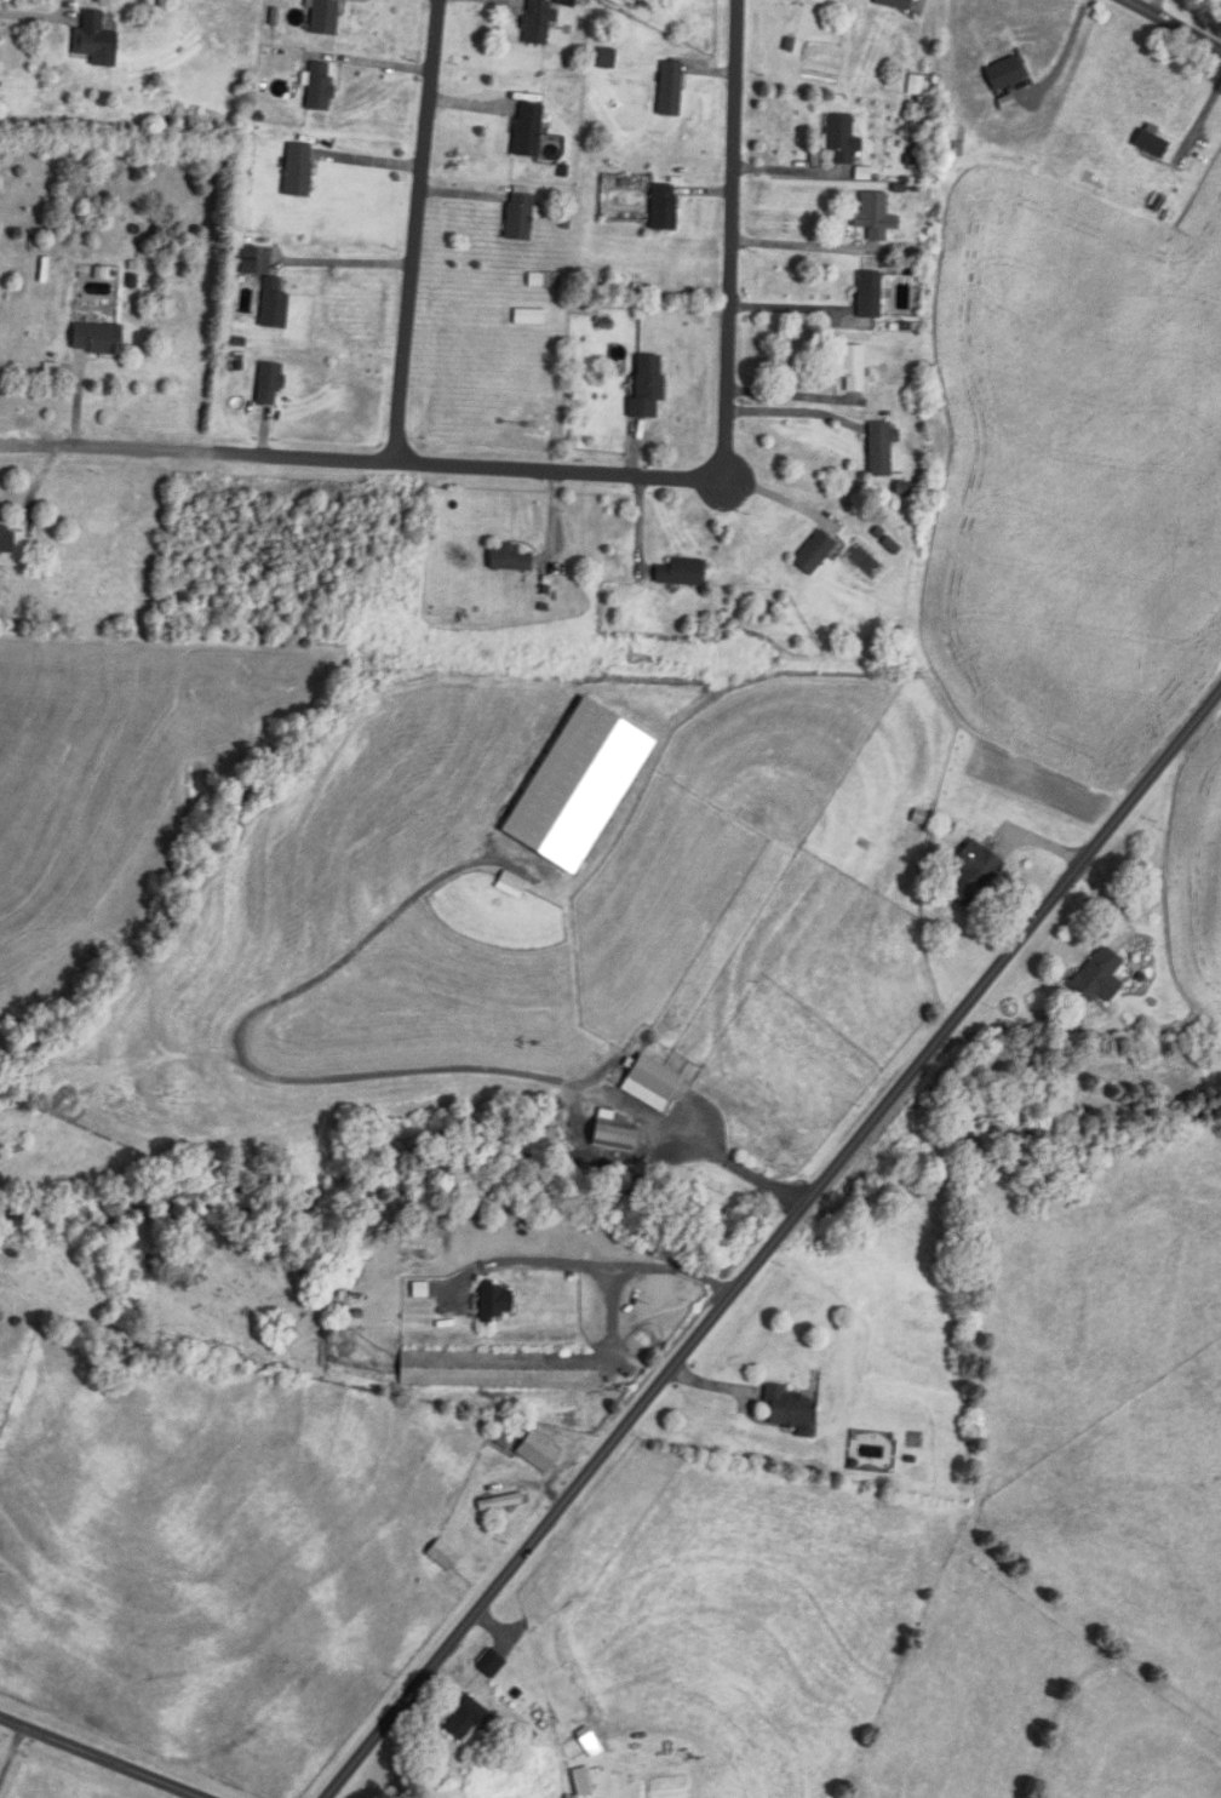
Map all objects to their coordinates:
building: (896, 4)
building: (327, 17)
building: (540, 22)
road: (1174, 24)
building: (97, 41)
building: (321, 86)
building: (672, 88)
building: (529, 130)
building: (843, 138)
building: (300, 171)
building: (665, 208)
building: (521, 217)
building: (877, 217)
road: (414, 227)
road: (729, 236)
road: (804, 246)
road: (339, 262)
building: (872, 294)
building: (275, 305)
road: (798, 307)
building: (99, 339)
building: (854, 367)
building: (271, 385)
building: (649, 388)
road: (791, 412)
building: (883, 449)
road: (361, 453)
building: (7, 540)
building: (818, 554)
building: (511, 559)
building: (683, 573)
building: (975, 872)
building: (1101, 978)
building: (658, 1087)
building: (617, 1136)
road: (692, 1140)
building: (775, 1144)
road: (772, 1242)
road: (618, 1264)
building: (497, 1300)
building: (500, 1369)
building: (790, 1407)
building: (540, 1451)
building: (501, 1501)
building: (445, 1554)
building: (466, 1717)
building: (591, 1741)
road: (8, 1750)
road: (97, 1758)

